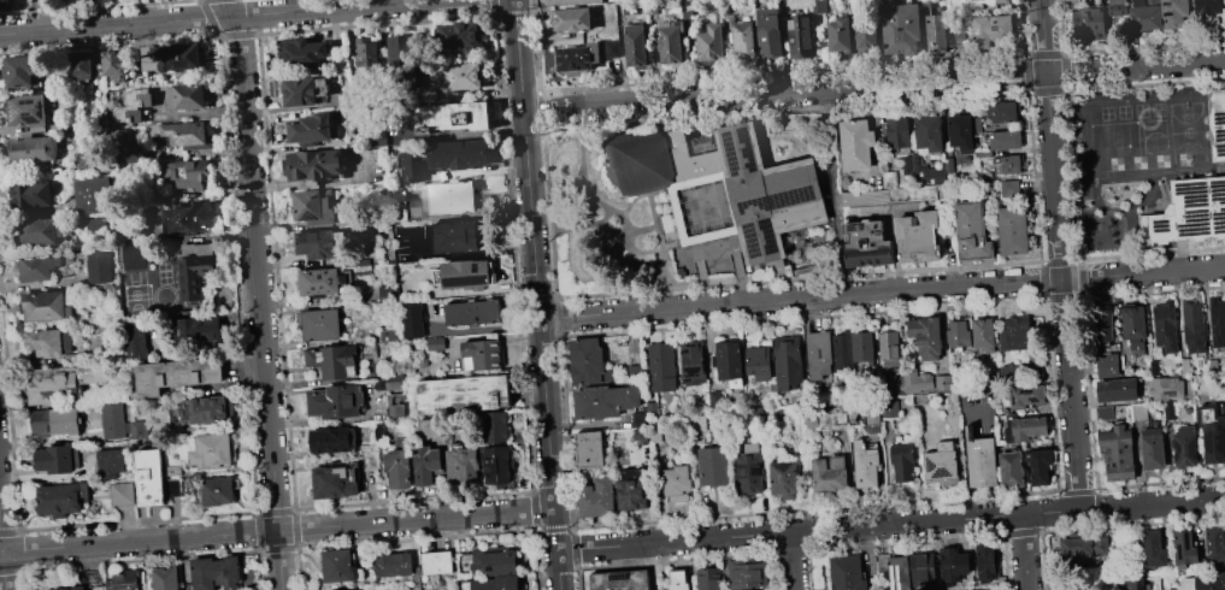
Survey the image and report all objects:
building: (47, 0)
building: (614, 0)
building: (1118, 0)
building: (566, 1)
building: (1002, 1)
building: (5, 5)
building: (649, 5)
building: (819, 6)
building: (959, 6)
building: (1208, 7)
building: (1174, 13)
building: (1146, 14)
road: (222, 18)
building: (575, 19)
building: (1094, 24)
building: (902, 29)
building: (991, 29)
building: (936, 34)
building: (768, 35)
building: (840, 35)
building: (866, 35)
building: (461, 36)
building: (742, 36)
building: (800, 37)
building: (563, 39)
building: (673, 41)
building: (711, 42)
building: (635, 46)
building: (612, 51)
building: (306, 52)
building: (369, 54)
building: (177, 58)
building: (577, 58)
building: (401, 64)
building: (117, 65)
building: (79, 66)
building: (22, 70)
building: (459, 76)
road: (891, 83)
building: (272, 85)
building: (1224, 85)
building: (305, 92)
building: (187, 96)
road: (541, 105)
building: (132, 106)
building: (28, 110)
building: (1002, 112)
building: (452, 117)
road: (542, 117)
building: (1217, 122)
building: (977, 124)
building: (378, 125)
building: (311, 129)
building: (899, 131)
building: (929, 132)
building: (960, 132)
building: (184, 135)
building: (1006, 140)
building: (856, 143)
building: (33, 151)
building: (131, 154)
building: (983, 154)
building: (443, 159)
building: (1008, 163)
building: (949, 165)
building: (314, 166)
building: (926, 172)
building: (189, 173)
building: (731, 182)
building: (1011, 189)
building: (913, 193)
building: (33, 194)
building: (93, 195)
building: (452, 197)
building: (865, 197)
building: (314, 207)
building: (1185, 213)
building: (188, 219)
building: (95, 224)
building: (1012, 230)
building: (973, 231)
building: (39, 232)
building: (455, 235)
building: (918, 236)
building: (319, 243)
building: (867, 243)
building: (402, 244)
building: (199, 248)
road: (1060, 254)
building: (136, 258)
building: (37, 266)
building: (363, 266)
building: (101, 267)
building: (466, 275)
building: (194, 277)
building: (320, 281)
building: (116, 290)
road: (259, 293)
building: (387, 293)
road: (882, 293)
road: (536, 295)
building: (46, 306)
building: (472, 312)
building: (413, 319)
building: (1218, 320)
building: (1133, 323)
building: (320, 324)
building: (1103, 325)
building: (1165, 325)
building: (1194, 325)
road: (485, 328)
building: (190, 331)
building: (1015, 334)
building: (389, 335)
building: (959, 335)
building: (983, 335)
building: (926, 337)
building: (49, 341)
building: (134, 341)
building: (436, 344)
building: (861, 344)
building: (889, 348)
building: (842, 350)
building: (483, 352)
building: (819, 354)
building: (338, 359)
building: (588, 362)
building: (775, 362)
building: (693, 364)
building: (730, 364)
building: (1186, 365)
building: (661, 366)
building: (1109, 366)
building: (1154, 368)
building: (1024, 372)
building: (635, 373)
building: (177, 374)
building: (394, 376)
building: (911, 382)
building: (943, 383)
building: (47, 384)
building: (395, 385)
building: (1166, 389)
building: (1118, 390)
building: (464, 394)
building: (1025, 396)
building: (717, 400)
building: (336, 401)
building: (606, 401)
building: (210, 408)
building: (890, 408)
building: (399, 411)
building: (853, 411)
building: (1139, 412)
building: (1106, 413)
building: (646, 414)
building: (828, 415)
building: (873, 417)
building: (697, 421)
building: (58, 424)
building: (122, 424)
building: (1024, 426)
building: (430, 427)
building: (496, 427)
building: (1213, 432)
building: (655, 433)
building: (641, 437)
building: (332, 439)
building: (1185, 447)
building: (367, 448)
building: (1153, 448)
building: (590, 449)
building: (214, 450)
building: (1118, 452)
building: (58, 459)
building: (497, 460)
building: (941, 461)
building: (111, 462)
building: (371, 462)
building: (982, 462)
building: (426, 464)
building: (463, 465)
building: (1040, 465)
building: (713, 466)
building: (865, 466)
building: (399, 467)
building: (903, 467)
building: (1011, 468)
building: (748, 470)
building: (173, 471)
building: (830, 473)
building: (151, 478)
building: (783, 479)
building: (336, 482)
building: (677, 484)
building: (173, 486)
building: (632, 490)
building: (219, 491)
building: (123, 492)
building: (597, 497)
building: (63, 498)
building: (94, 506)
road: (890, 524)
road: (277, 530)
building: (1214, 544)
building: (1083, 545)
building: (1184, 548)
building: (1153, 549)
road: (1025, 551)
road: (2, 554)
building: (883, 560)
road: (791, 561)
building: (437, 562)
building: (494, 562)
building: (987, 562)
building: (952, 564)
building: (338, 565)
building: (396, 565)
building: (216, 572)
building: (747, 573)
building: (848, 573)
building: (899, 573)
building: (926, 574)
building: (166, 578)
building: (620, 579)
building: (709, 579)
building: (87, 580)
building: (678, 580)
building: (124, 582)
building: (1205, 582)
building: (494, 583)
building: (1130, 584)
building: (1147, 586)
building: (355, 589)

